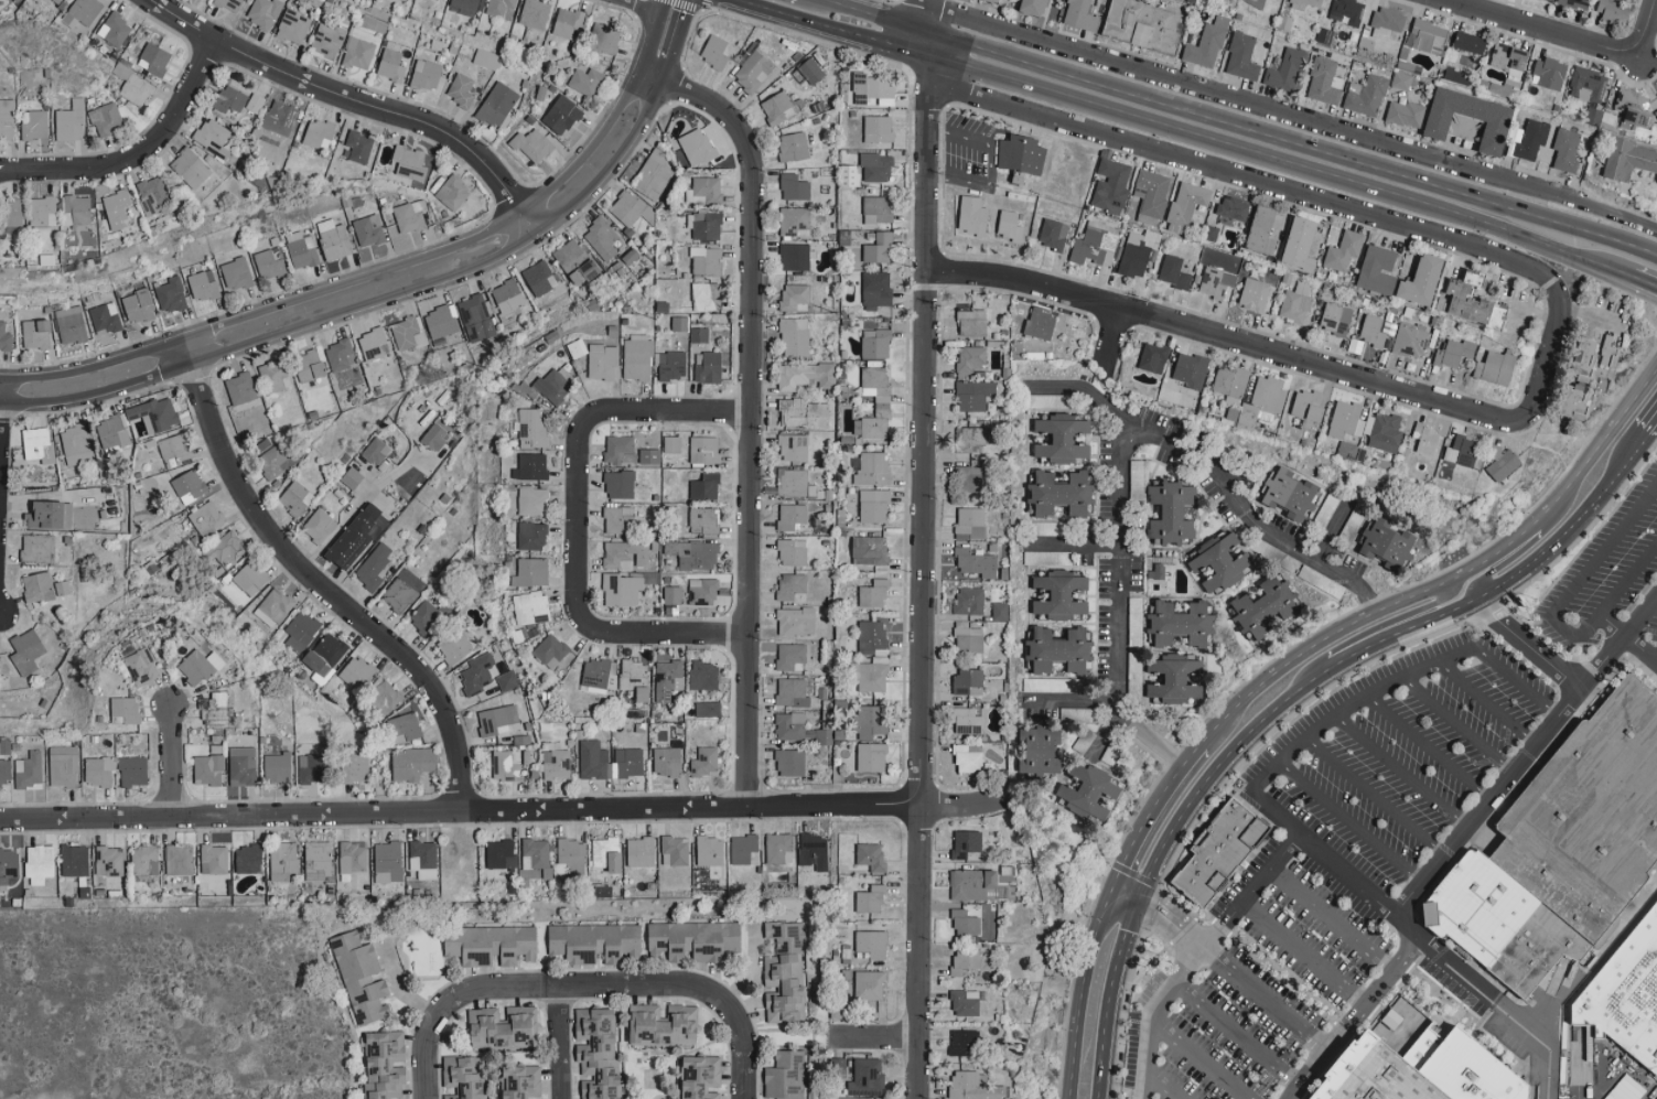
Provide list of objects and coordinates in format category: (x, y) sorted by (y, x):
building: (404, 0)
building: (442, 0)
building: (1546, 0)
building: (57, 1)
building: (998, 1)
building: (1257, 1)
building: (1305, 3)
building: (1575, 3)
building: (229, 4)
building: (464, 7)
building: (498, 7)
road: (632, 8)
building: (1036, 8)
building: (85, 10)
building: (1613, 10)
building: (1347, 11)
building: (263, 12)
building: (535, 13)
building: (1079, 14)
building: (568, 22)
building: (1387, 23)
building: (1145, 24)
building: (293, 26)
building: (115, 29)
road: (1532, 30)
road: (1649, 31)
building: (1325, 35)
building: (1428, 36)
building: (604, 39)
building: (326, 42)
road: (678, 42)
building: (1470, 43)
building: (1207, 44)
building: (715, 52)
building: (357, 53)
building: (1242, 57)
building: (1510, 57)
building: (154, 58)
building: (486, 58)
building: (391, 63)
building: (752, 69)
building: (1288, 69)
building: (810, 71)
building: (1549, 73)
building: (426, 75)
building: (1456, 77)
road: (649, 78)
building: (1324, 80)
building: (585, 82)
building: (1401, 82)
building: (1588, 85)
building: (461, 90)
building: (870, 91)
building: (1366, 95)
building: (229, 99)
road: (354, 101)
building: (255, 104)
building: (497, 105)
building: (1633, 107)
building: (777, 108)
building: (1405, 114)
road: (1291, 115)
building: (1592, 115)
building: (280, 117)
building: (7, 119)
building: (106, 119)
building: (69, 121)
building: (34, 125)
road: (1244, 126)
building: (1497, 128)
building: (879, 129)
building: (318, 133)
road: (1181, 133)
road: (926, 136)
building: (213, 137)
building: (1531, 138)
building: (532, 144)
building: (358, 147)
building: (697, 147)
building: (793, 147)
building: (1567, 151)
road: (136, 155)
building: (1021, 157)
building: (1628, 161)
building: (410, 163)
road: (989, 163)
building: (876, 166)
building: (191, 168)
building: (653, 174)
building: (850, 175)
road: (1248, 181)
building: (1110, 185)
building: (794, 187)
building: (703, 191)
building: (453, 193)
building: (1152, 193)
building: (152, 194)
building: (1186, 205)
building: (116, 208)
building: (628, 208)
building: (1234, 208)
building: (42, 211)
building: (76, 211)
building: (879, 211)
building: (11, 212)
building: (410, 216)
building: (972, 216)
building: (795, 222)
building: (704, 225)
building: (1011, 225)
building: (368, 230)
building: (1266, 230)
building: (1209, 233)
building: (1053, 234)
building: (601, 238)
building: (333, 239)
building: (1095, 245)
building: (1302, 245)
building: (879, 249)
building: (301, 250)
building: (1344, 251)
building: (795, 257)
building: (706, 259)
building: (1136, 259)
building: (575, 262)
building: (269, 263)
road: (389, 269)
building: (1379, 271)
building: (1174, 272)
building: (236, 273)
building: (539, 279)
building: (1424, 281)
building: (1214, 283)
road: (1644, 283)
building: (203, 285)
building: (876, 290)
building: (170, 293)
building: (1253, 295)
building: (706, 297)
building: (796, 298)
building: (507, 301)
building: (1474, 301)
building: (1296, 303)
building: (137, 305)
road: (367, 305)
building: (661, 306)
road: (1532, 312)
road: (1589, 315)
building: (105, 319)
building: (476, 319)
building: (1336, 319)
building: (440, 322)
building: (679, 323)
building: (1041, 324)
building: (71, 325)
building: (1373, 331)
building: (407, 333)
building: (36, 334)
building: (699, 335)
building: (4, 337)
building: (795, 337)
road: (1111, 340)
building: (1410, 340)
building: (372, 344)
building: (875, 344)
building: (577, 348)
building: (1454, 353)
building: (1608, 353)
building: (338, 355)
road: (1288, 357)
building: (1588, 357)
building: (636, 358)
building: (1153, 358)
building: (970, 360)
building: (602, 362)
building: (671, 365)
building: (309, 366)
building: (708, 367)
building: (1496, 368)
building: (1191, 370)
building: (272, 376)
building: (805, 376)
building: (239, 389)
road: (1084, 391)
building: (973, 395)
building: (1268, 397)
building: (1575, 401)
building: (1309, 406)
building: (882, 407)
building: (804, 413)
building: (154, 414)
building: (1247, 417)
building: (1346, 420)
road: (750, 421)
road: (1651, 425)
building: (531, 429)
building: (1382, 432)
road: (1607, 432)
building: (111, 435)
building: (435, 438)
building: (1063, 439)
building: (1425, 439)
building: (970, 440)
building: (37, 444)
building: (671, 444)
building: (75, 445)
building: (793, 448)
building: (620, 449)
building: (704, 450)
building: (173, 451)
building: (1463, 451)
building: (376, 452)
building: (530, 466)
building: (1504, 466)
building: (872, 470)
road: (1614, 474)
building: (353, 478)
building: (971, 480)
building: (792, 482)
building: (620, 485)
building: (189, 487)
building: (704, 487)
building: (1061, 494)
building: (1292, 495)
building: (295, 498)
building: (532, 500)
building: (873, 506)
road: (354, 507)
building: (1173, 513)
building: (49, 516)
road: (1249, 516)
building: (792, 517)
building: (206, 518)
building: (618, 520)
building: (703, 520)
road: (575, 522)
building: (971, 522)
building: (319, 526)
road: (1330, 530)
building: (531, 536)
building: (357, 538)
building: (1387, 545)
building: (37, 548)
road: (1075, 548)
building: (227, 549)
road: (1521, 549)
building: (869, 551)
building: (793, 552)
building: (625, 554)
building: (693, 554)
building: (1047, 558)
building: (1223, 561)
building: (976, 563)
building: (374, 567)
road: (1121, 569)
building: (531, 572)
building: (1155, 573)
building: (250, 578)
road: (319, 583)
building: (790, 585)
building: (43, 588)
building: (622, 590)
building: (702, 592)
building: (401, 593)
building: (873, 594)
building: (1061, 595)
building: (671, 601)
building: (969, 601)
building: (529, 607)
building: (1268, 608)
road: (1374, 611)
building: (1000, 612)
road: (1554, 613)
building: (426, 617)
building: (796, 622)
building: (1183, 624)
road: (1376, 628)
building: (301, 632)
road: (1627, 638)
building: (969, 640)
road: (1617, 643)
road: (1526, 644)
building: (454, 647)
building: (1058, 650)
building: (25, 651)
building: (551, 651)
building: (789, 656)
building: (325, 657)
building: (880, 659)
road: (1656, 660)
building: (141, 667)
building: (200, 667)
building: (356, 672)
road: (1325, 672)
building: (595, 674)
building: (633, 674)
building: (477, 675)
building: (703, 676)
building: (667, 679)
building: (1174, 679)
building: (506, 680)
building: (968, 682)
road: (1516, 682)
road: (921, 686)
building: (792, 693)
building: (643, 694)
building: (383, 698)
road: (1077, 701)
road: (1486, 702)
building: (214, 710)
building: (708, 710)
building: (125, 711)
building: (496, 721)
building: (968, 721)
building: (870, 722)
road: (1456, 724)
building: (789, 726)
building: (404, 728)
building: (822, 736)
road: (1108, 737)
road: (1151, 741)
road: (1429, 748)
building: (1041, 751)
building: (871, 757)
building: (969, 759)
road: (171, 762)
building: (609, 762)
building: (667, 762)
building: (704, 762)
building: (790, 763)
building: (411, 764)
building: (556, 764)
road: (1276, 764)
building: (63, 766)
building: (241, 766)
building: (355, 767)
building: (505, 767)
building: (277, 768)
building: (312, 768)
building: (29, 771)
building: (207, 771)
building: (98, 772)
building: (133, 772)
road: (1401, 772)
building: (4, 773)
building: (1090, 791)
road: (1376, 798)
road: (1487, 804)
road: (501, 809)
road: (1150, 814)
building: (1589, 818)
road: (1351, 823)
building: (966, 843)
building: (778, 848)
building: (744, 849)
building: (675, 850)
building: (710, 850)
building: (641, 851)
building: (814, 851)
building: (1217, 851)
building: (606, 853)
building: (501, 854)
building: (570, 854)
building: (872, 856)
building: (248, 858)
building: (535, 858)
building: (214, 859)
building: (352, 859)
building: (423, 859)
building: (74, 860)
building: (144, 860)
building: (179, 860)
building: (318, 860)
building: (109, 861)
building: (282, 861)
building: (388, 862)
building: (39, 863)
building: (8, 866)
road: (1268, 866)
building: (715, 880)
building: (972, 883)
traffic signals: (1110, 891)
road: (1123, 896)
building: (871, 899)
traffic signals: (1138, 903)
road: (1330, 919)
building: (966, 922)
road: (1171, 922)
building: (1498, 922)
road: (1220, 924)
road: (1408, 928)
building: (695, 939)
building: (594, 941)
building: (872, 942)
building: (491, 944)
road: (1302, 952)
building: (965, 961)
road: (1188, 965)
road: (1454, 968)
building: (785, 972)
building: (361, 978)
building: (869, 984)
road: (405, 992)
road: (1079, 992)
road: (1374, 993)
road: (544, 995)
road: (1265, 998)
road: (1109, 999)
building: (966, 1002)
building: (1616, 1006)
building: (665, 1025)
road: (738, 1026)
building: (505, 1027)
road: (1237, 1033)
road: (1144, 1035)
road: (875, 1041)
building: (964, 1042)
road: (1542, 1046)
road: (563, 1047)
building: (598, 1053)
road: (1195, 1058)
building: (385, 1064)
road: (746, 1071)
road: (1308, 1074)
building: (786, 1076)
building: (1377, 1076)
building: (464, 1077)
building: (703, 1077)
building: (867, 1077)
building: (521, 1081)
road: (1161, 1081)
building: (971, 1086)
building: (1625, 1089)

